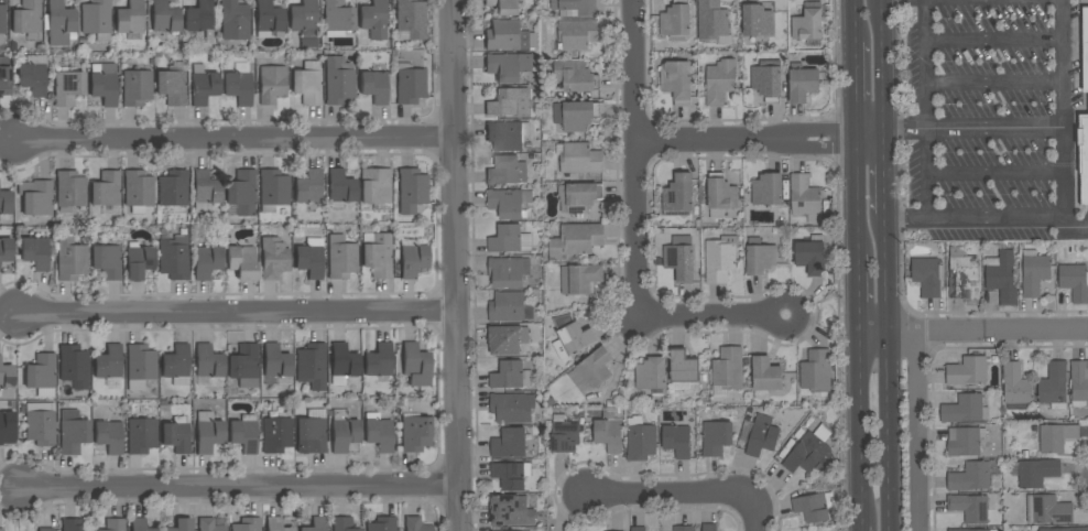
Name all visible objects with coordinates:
building: (504, 7)
building: (574, 8)
building: (164, 17)
building: (199, 17)
building: (26, 18)
building: (130, 18)
building: (337, 18)
building: (96, 19)
building: (411, 19)
building: (268, 20)
building: (373, 20)
building: (675, 20)
road: (851, 20)
building: (757, 21)
building: (2, 22)
building: (235, 22)
building: (304, 22)
building: (712, 22)
building: (808, 23)
building: (59, 24)
building: (578, 34)
building: (509, 36)
road: (994, 42)
building: (1085, 48)
parking lot: (991, 53)
road: (883, 64)
building: (508, 67)
building: (33, 75)
building: (4, 76)
building: (575, 77)
building: (338, 80)
building: (766, 80)
building: (676, 82)
building: (719, 82)
building: (239, 84)
building: (272, 84)
building: (410, 84)
building: (804, 84)
road: (994, 84)
building: (105, 85)
building: (203, 85)
building: (306, 86)
building: (68, 87)
building: (172, 87)
building: (374, 87)
building: (137, 88)
road: (853, 90)
building: (510, 102)
road: (927, 109)
road: (1063, 109)
building: (1080, 111)
building: (575, 115)
road: (995, 128)
road: (905, 129)
building: (507, 136)
road: (235, 141)
road: (761, 141)
building: (1081, 155)
building: (580, 159)
road: (635, 159)
building: (503, 171)
road: (885, 172)
parking lot: (979, 173)
road: (995, 174)
building: (374, 186)
building: (308, 187)
building: (340, 188)
building: (106, 189)
building: (273, 189)
building: (412, 189)
building: (766, 189)
building: (70, 191)
building: (138, 191)
building: (174, 191)
building: (205, 191)
building: (242, 192)
building: (677, 196)
building: (720, 196)
building: (35, 197)
building: (578, 197)
building: (805, 197)
road: (857, 197)
building: (4, 203)
building: (507, 204)
road: (997, 219)
road: (907, 220)
road: (1075, 225)
building: (510, 239)
building: (576, 240)
building: (6, 249)
building: (35, 252)
building: (378, 256)
building: (812, 256)
building: (69, 257)
building: (340, 257)
building: (760, 257)
building: (174, 258)
building: (273, 258)
building: (679, 258)
building: (412, 259)
building: (107, 261)
building: (207, 261)
building: (308, 261)
building: (719, 261)
building: (140, 262)
building: (241, 262)
road: (456, 264)
building: (508, 271)
building: (961, 273)
building: (1034, 273)
building: (928, 277)
building: (1001, 277)
building: (583, 278)
building: (1074, 282)
road: (859, 292)
building: (509, 307)
road: (236, 314)
road: (711, 317)
road: (973, 330)
building: (576, 338)
building: (504, 340)
building: (344, 360)
building: (379, 360)
building: (415, 360)
building: (208, 361)
building: (275, 361)
building: (108, 362)
building: (176, 365)
building: (74, 366)
building: (140, 366)
building: (244, 366)
building: (312, 366)
building: (683, 367)
building: (596, 368)
building: (727, 371)
building: (816, 371)
building: (967, 371)
road: (890, 372)
building: (651, 373)
building: (41, 375)
building: (766, 375)
building: (7, 376)
building: (511, 376)
building: (1079, 383)
building: (1015, 384)
building: (1054, 387)
building: (512, 408)
building: (964, 410)
building: (813, 418)
building: (41, 423)
building: (7, 427)
road: (861, 427)
building: (276, 430)
building: (610, 430)
building: (344, 431)
road: (915, 431)
building: (73, 432)
building: (379, 432)
building: (208, 433)
building: (311, 433)
building: (176, 434)
building: (243, 434)
building: (415, 434)
building: (564, 434)
building: (141, 435)
building: (108, 436)
building: (762, 436)
building: (1056, 437)
building: (716, 438)
building: (640, 440)
building: (677, 441)
building: (964, 442)
building: (509, 444)
building: (807, 454)
building: (1036, 472)
building: (511, 475)
building: (970, 477)
road: (239, 488)
road: (662, 496)
building: (814, 507)
building: (970, 508)
road: (757, 509)
building: (509, 510)
building: (1048, 510)
building: (74, 524)
building: (115, 524)
building: (140, 524)
building: (182, 524)
building: (208, 524)
building: (247, 524)
building: (275, 524)
building: (316, 524)
building: (342, 524)
building: (382, 524)
building: (415, 524)
building: (709, 527)
road: (862, 528)
building: (45, 529)
building: (639, 529)
building: (683, 529)
building: (1064, 529)
building: (1, 530)
building: (957, 530)
building: (987, 530)

